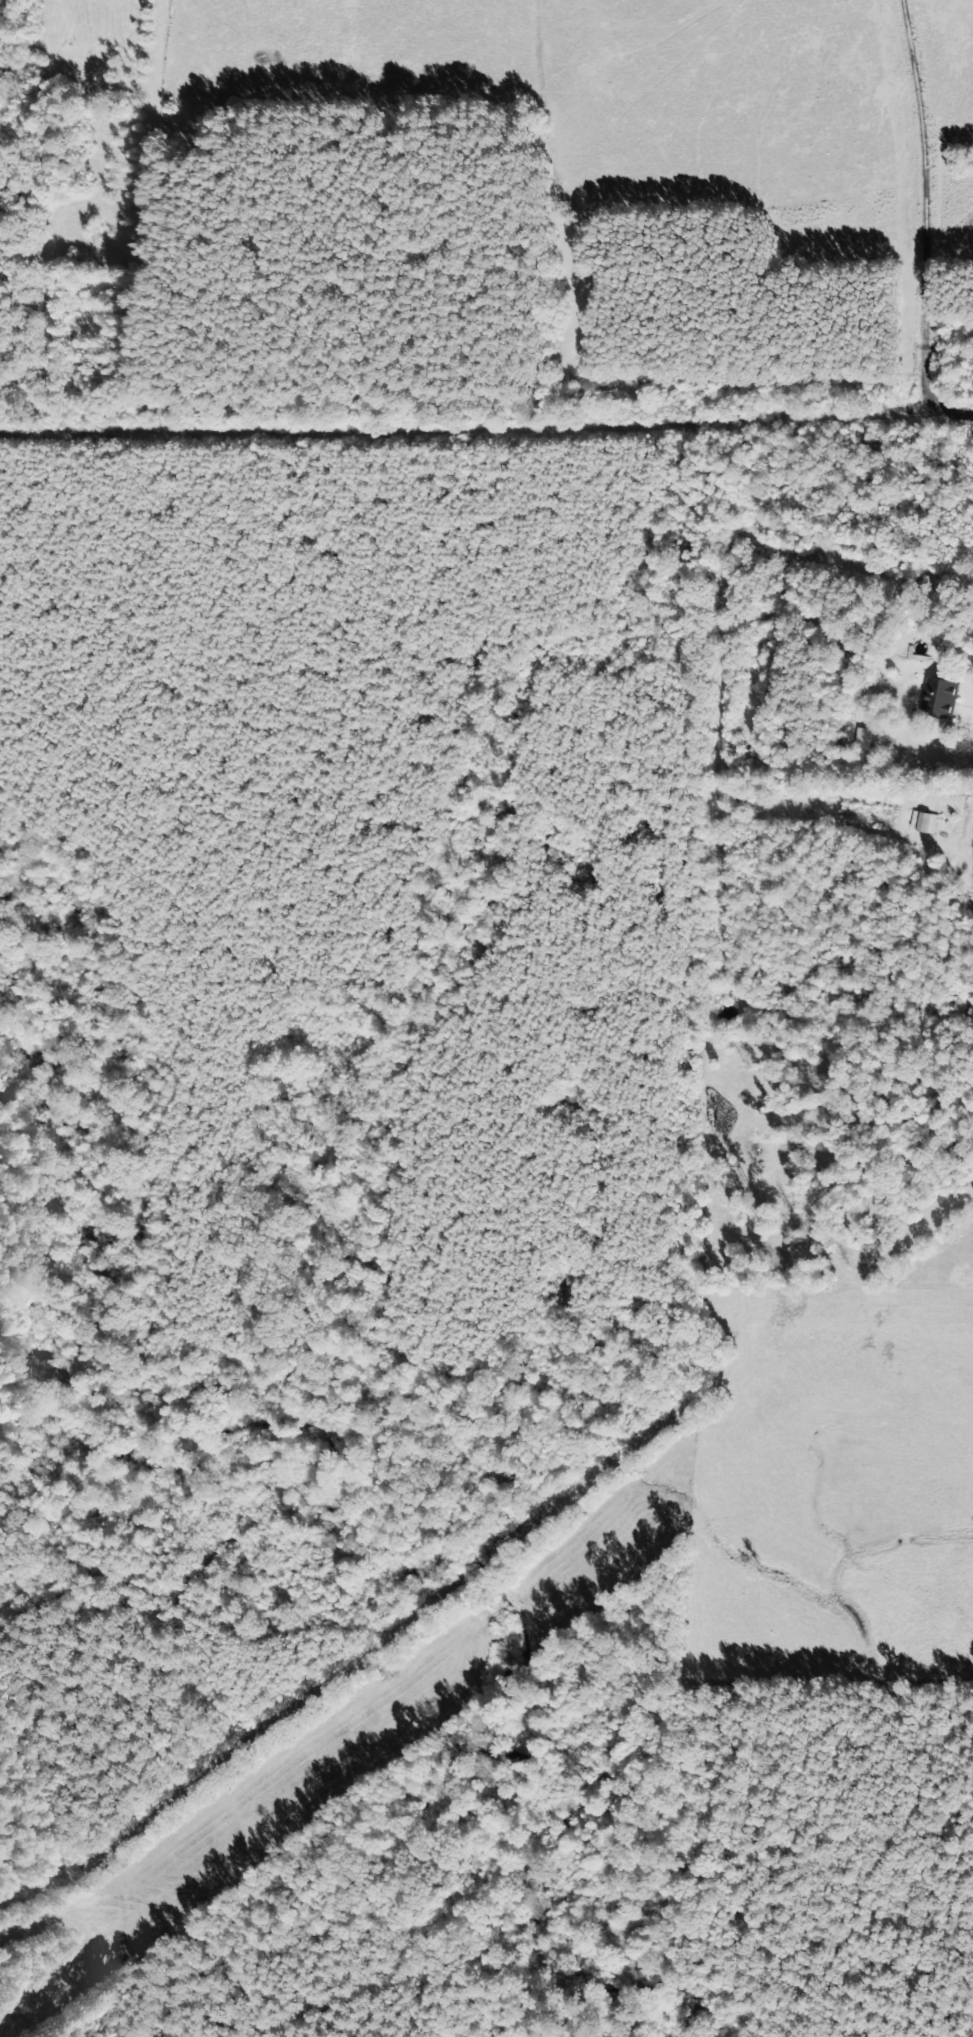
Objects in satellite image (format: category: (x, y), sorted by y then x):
building: (941, 695)
building: (921, 821)

